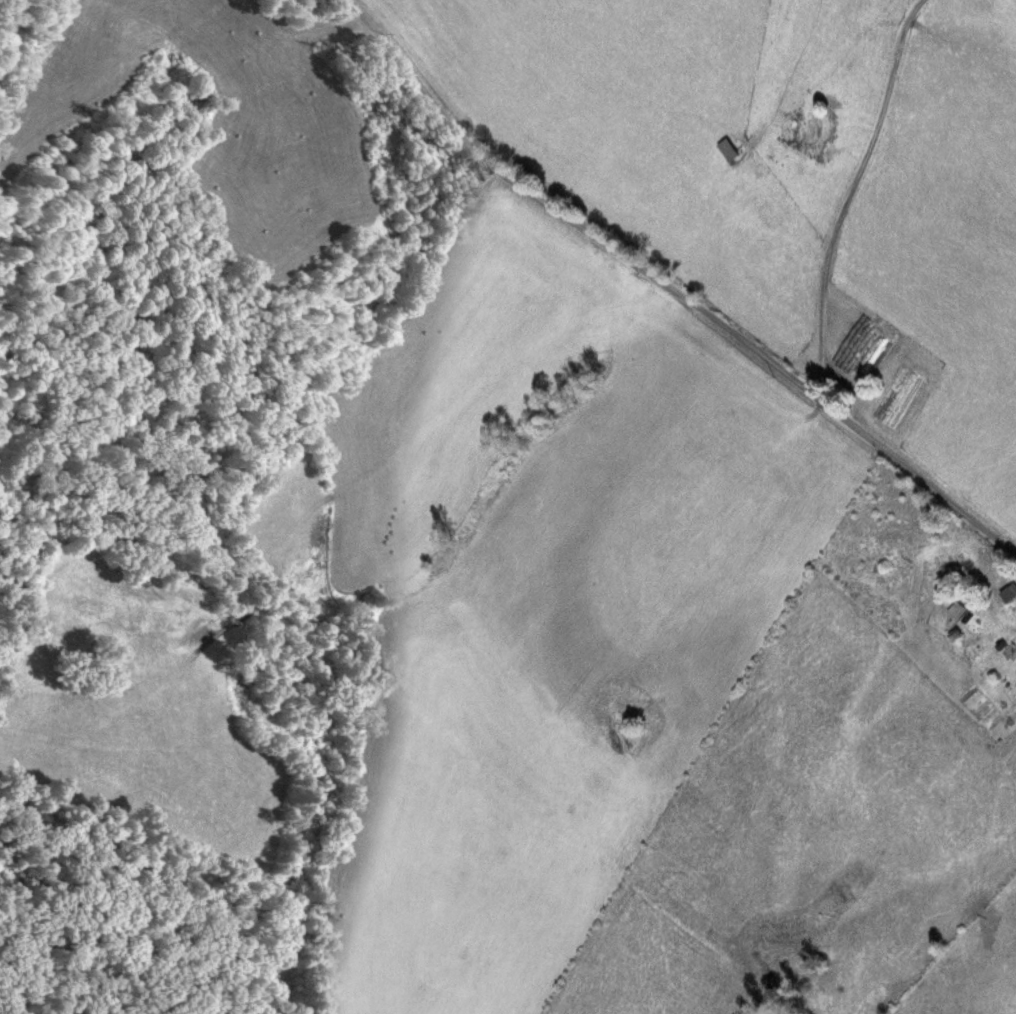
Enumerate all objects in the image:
building: (727, 150)
road: (680, 289)
building: (869, 368)
building: (1009, 594)
building: (957, 611)
building: (1003, 655)

